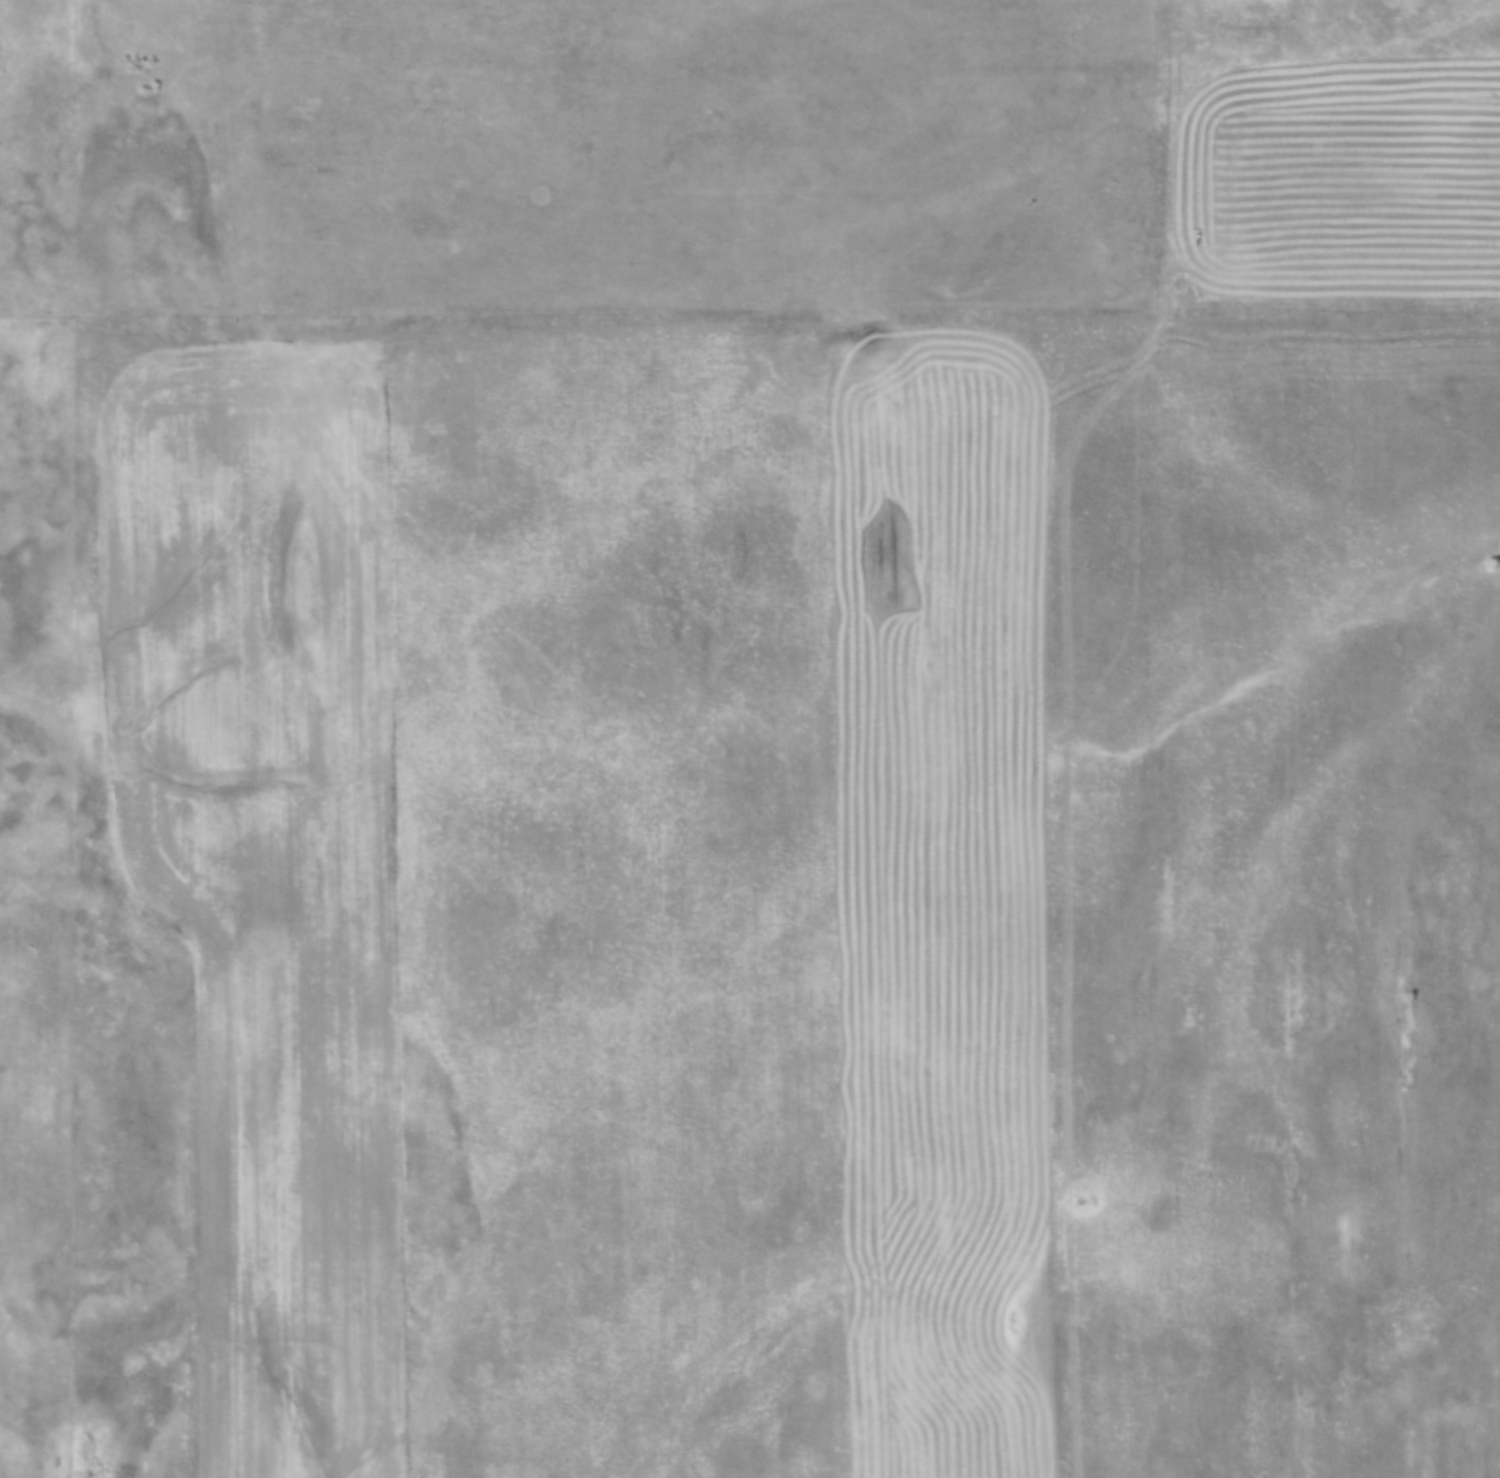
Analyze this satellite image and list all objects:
road: (690, 331)
road: (1058, 903)

